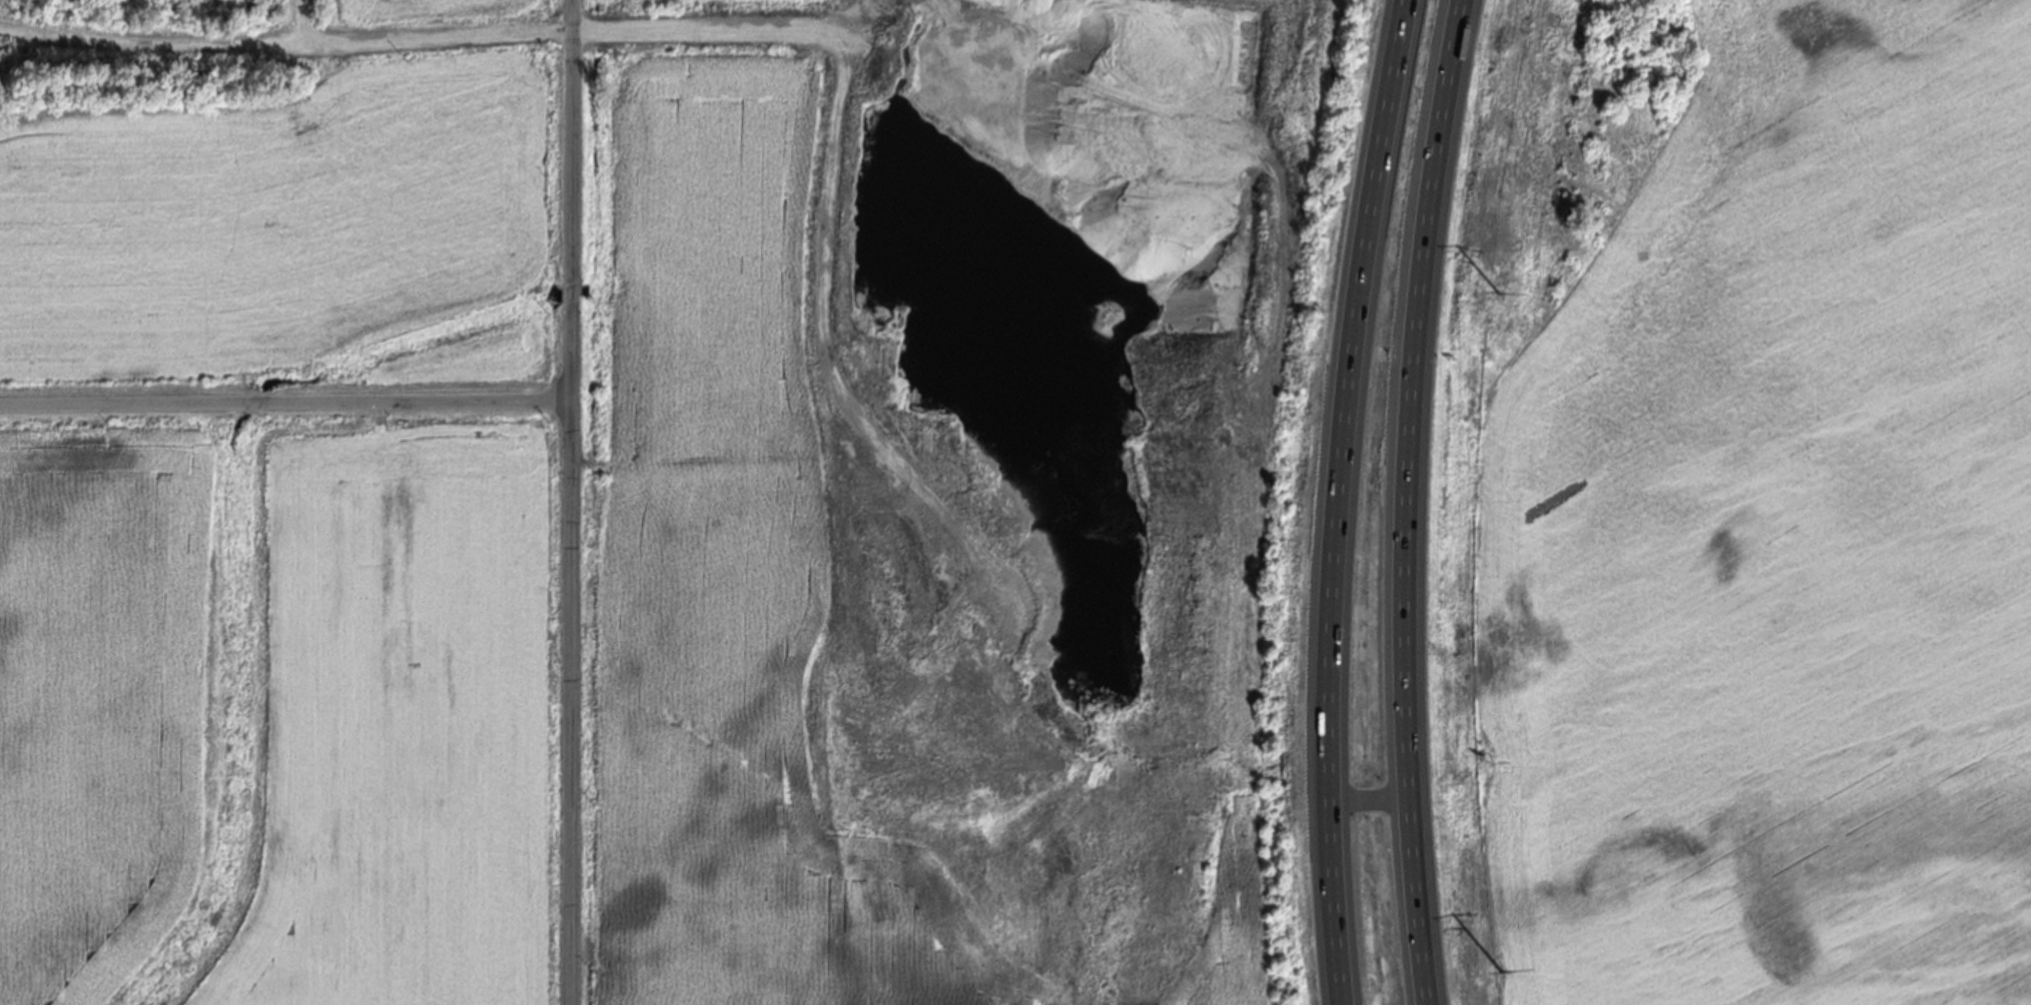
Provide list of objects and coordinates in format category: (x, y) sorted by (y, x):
quarry: (147, 54)
power tower: (1497, 294)
road: (286, 403)
road: (1339, 500)
road: (1406, 501)
road: (572, 502)
road: (1369, 803)
power tower: (1502, 973)

